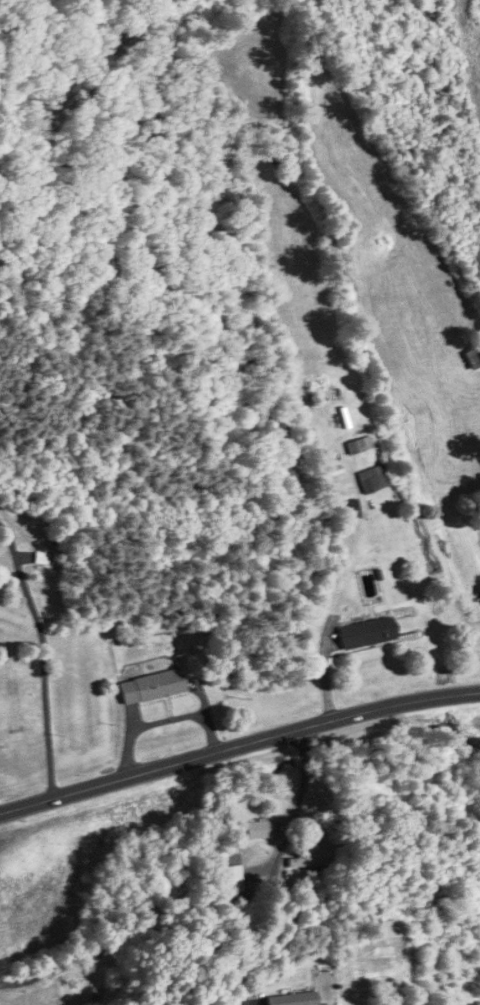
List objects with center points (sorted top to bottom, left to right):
building: (472, 358)
building: (356, 445)
building: (370, 479)
building: (346, 509)
building: (364, 632)
building: (148, 685)
road: (238, 745)
building: (257, 829)
building: (307, 861)
road: (276, 866)
building: (226, 872)
building: (291, 999)

